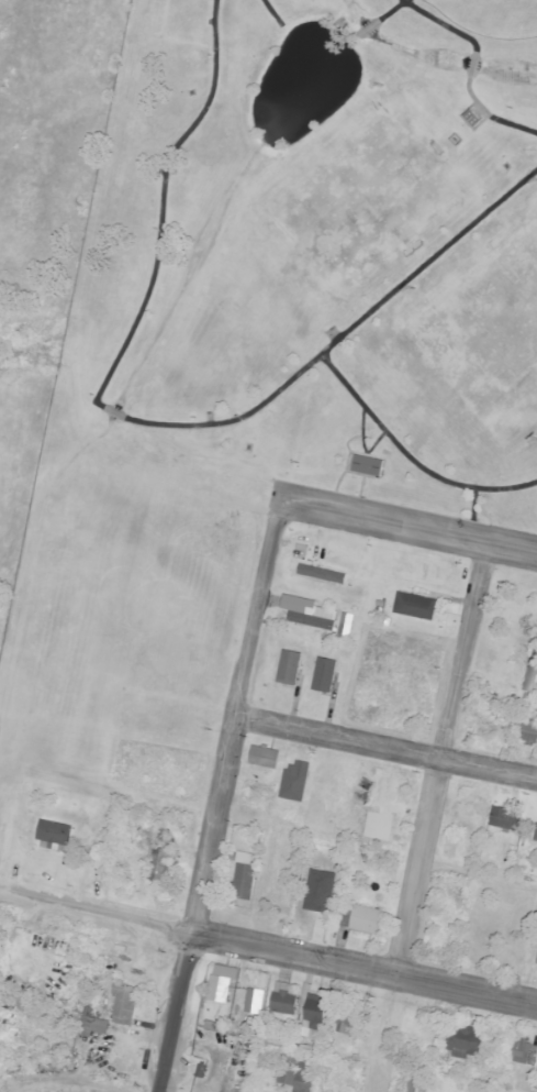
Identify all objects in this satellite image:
road: (269, 13)
park: (491, 18)
road: (378, 20)
road: (469, 69)
park: (366, 205)
park: (518, 256)
park: (236, 345)
park: (478, 355)
road: (141, 426)
road: (360, 432)
road: (372, 444)
road: (359, 454)
road: (409, 460)
building: (362, 465)
road: (344, 472)
road: (358, 476)
road: (359, 487)
road: (470, 516)
parking lot: (401, 526)
road: (407, 529)
building: (325, 575)
building: (417, 607)
building: (326, 621)
building: (292, 669)
building: (327, 676)
building: (529, 729)
road: (385, 748)
building: (268, 758)
road: (438, 763)
building: (298, 782)
road: (219, 797)
building: (508, 819)
building: (57, 837)
building: (161, 867)
building: (247, 879)
building: (321, 890)
building: (370, 920)
road: (267, 953)
building: (223, 990)
building: (256, 1002)
building: (127, 1005)
building: (316, 1017)
building: (96, 1025)
building: (346, 1026)
building: (467, 1040)
building: (525, 1054)
building: (299, 1078)
building: (419, 1084)

